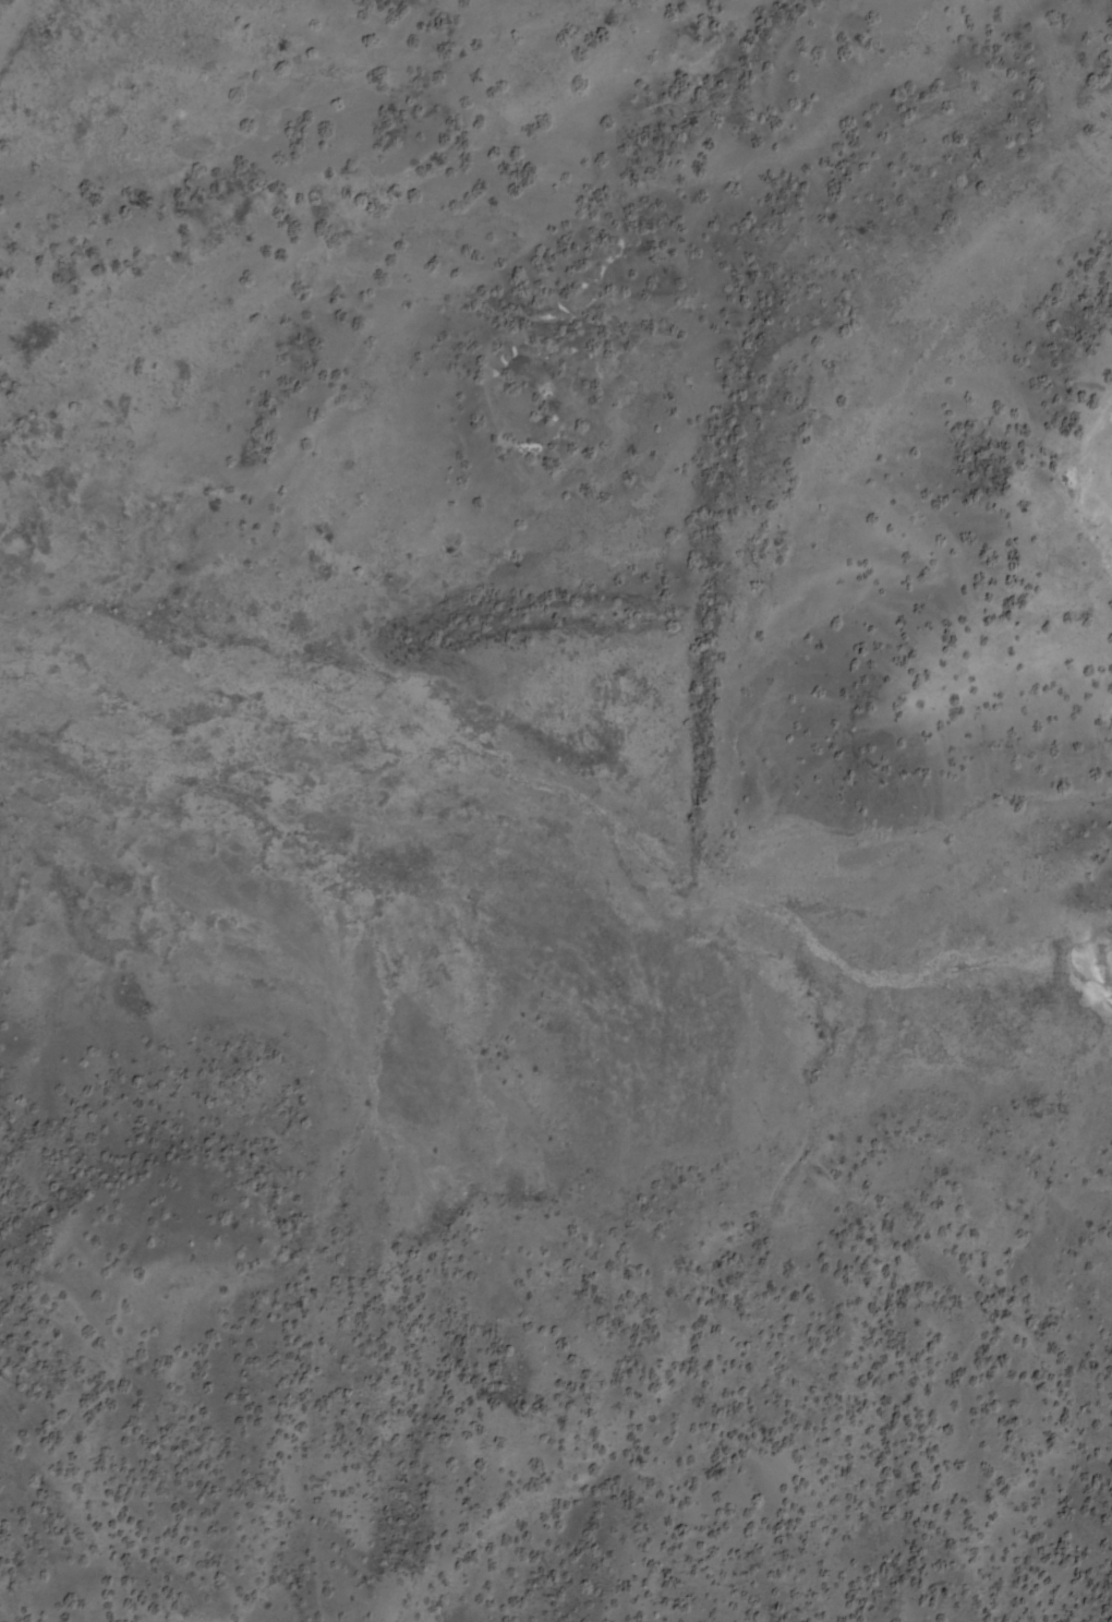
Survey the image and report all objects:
road: (1042, 95)

